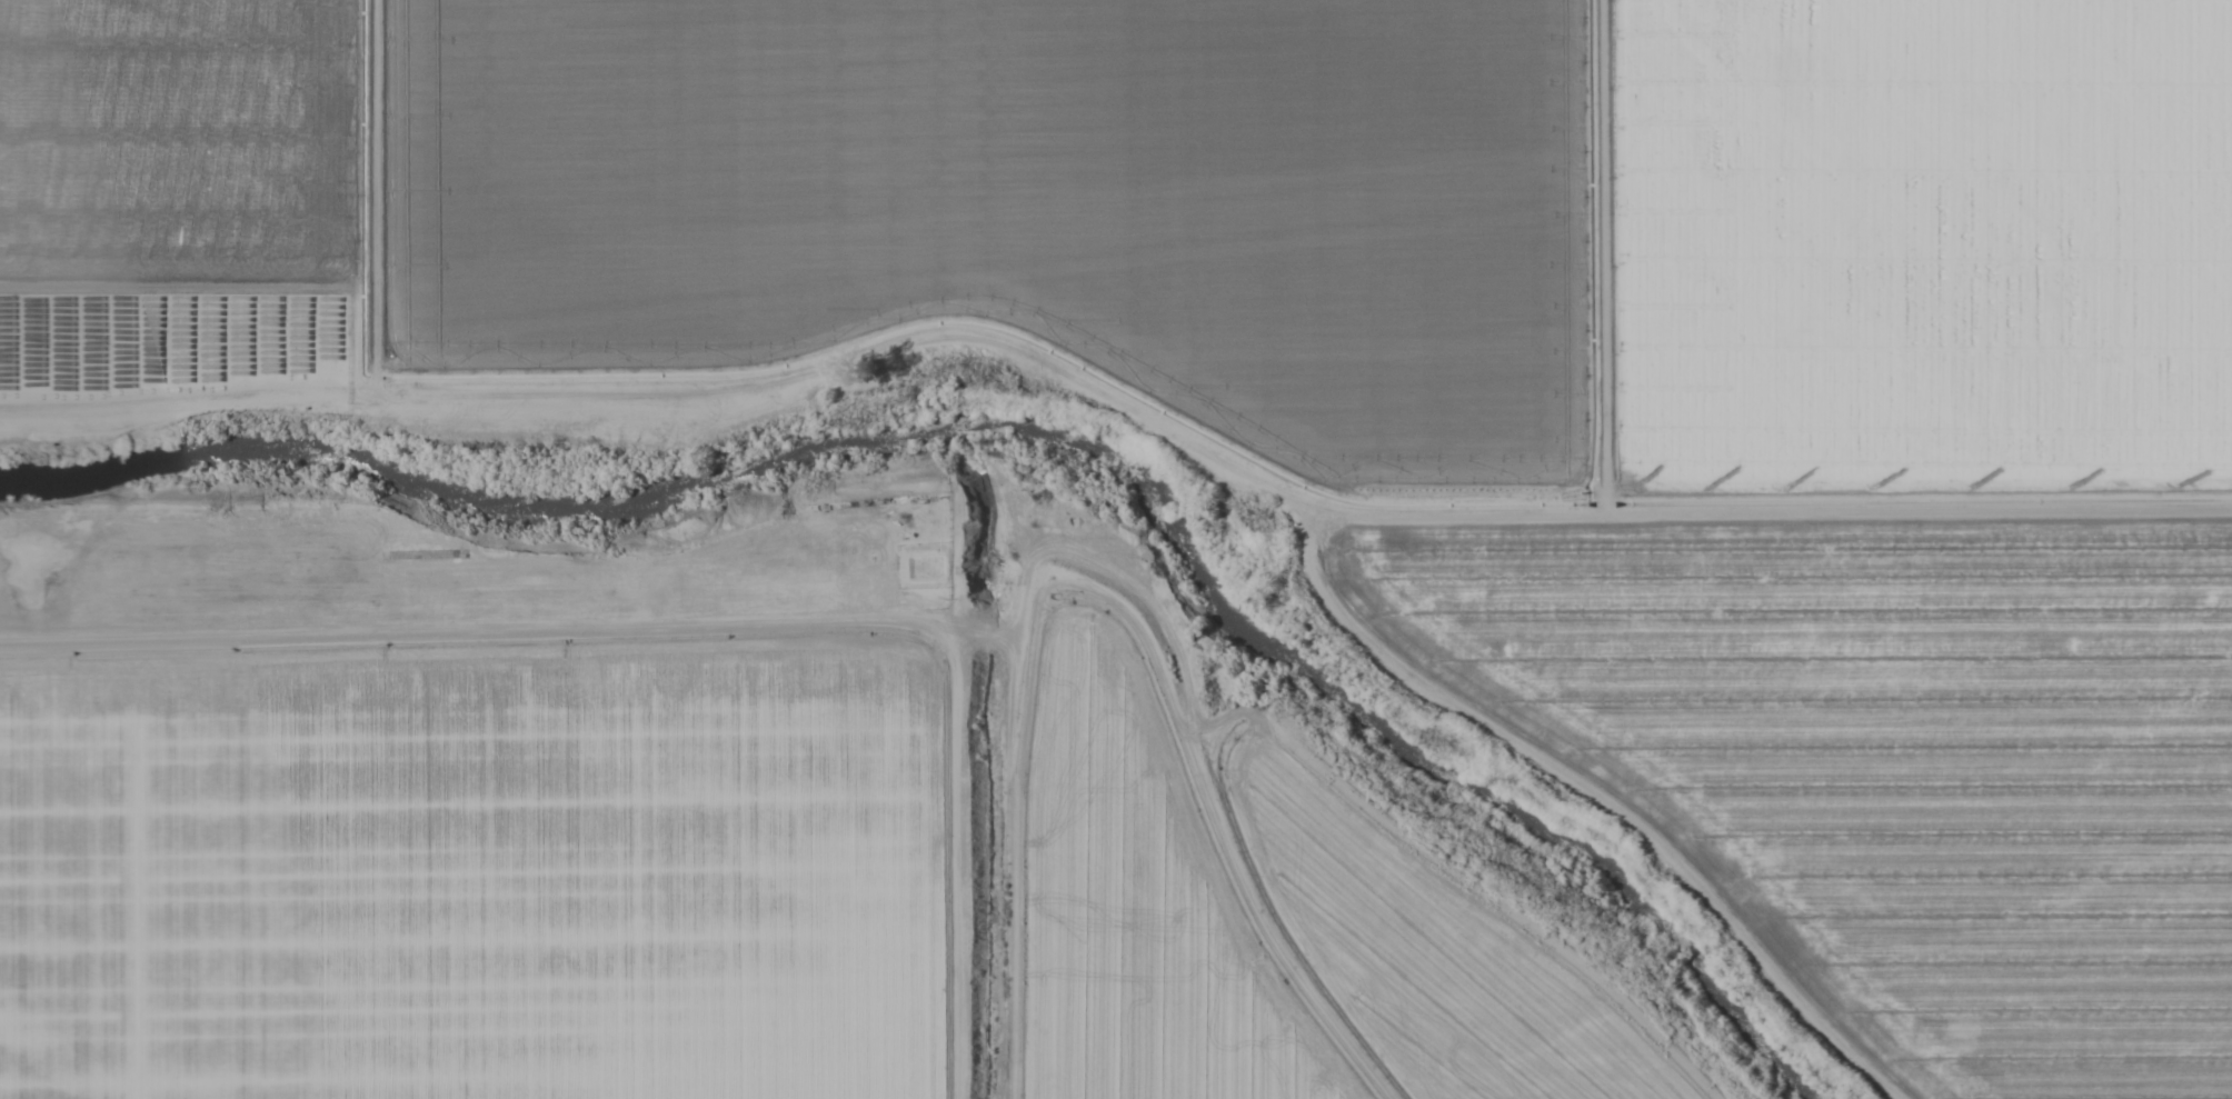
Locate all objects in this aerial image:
river: (1027, 433)
road: (490, 643)
road: (958, 880)

